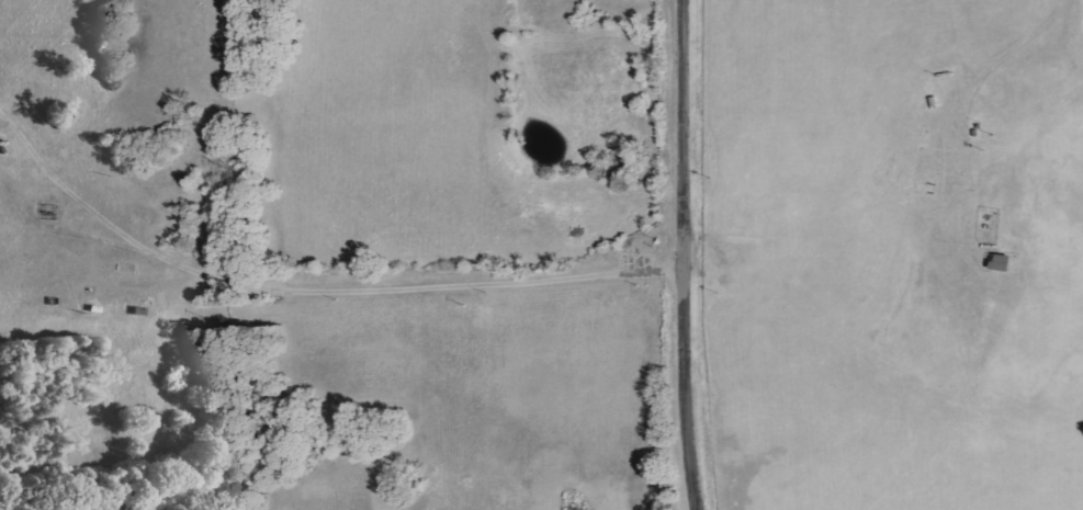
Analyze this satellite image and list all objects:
road: (692, 254)

